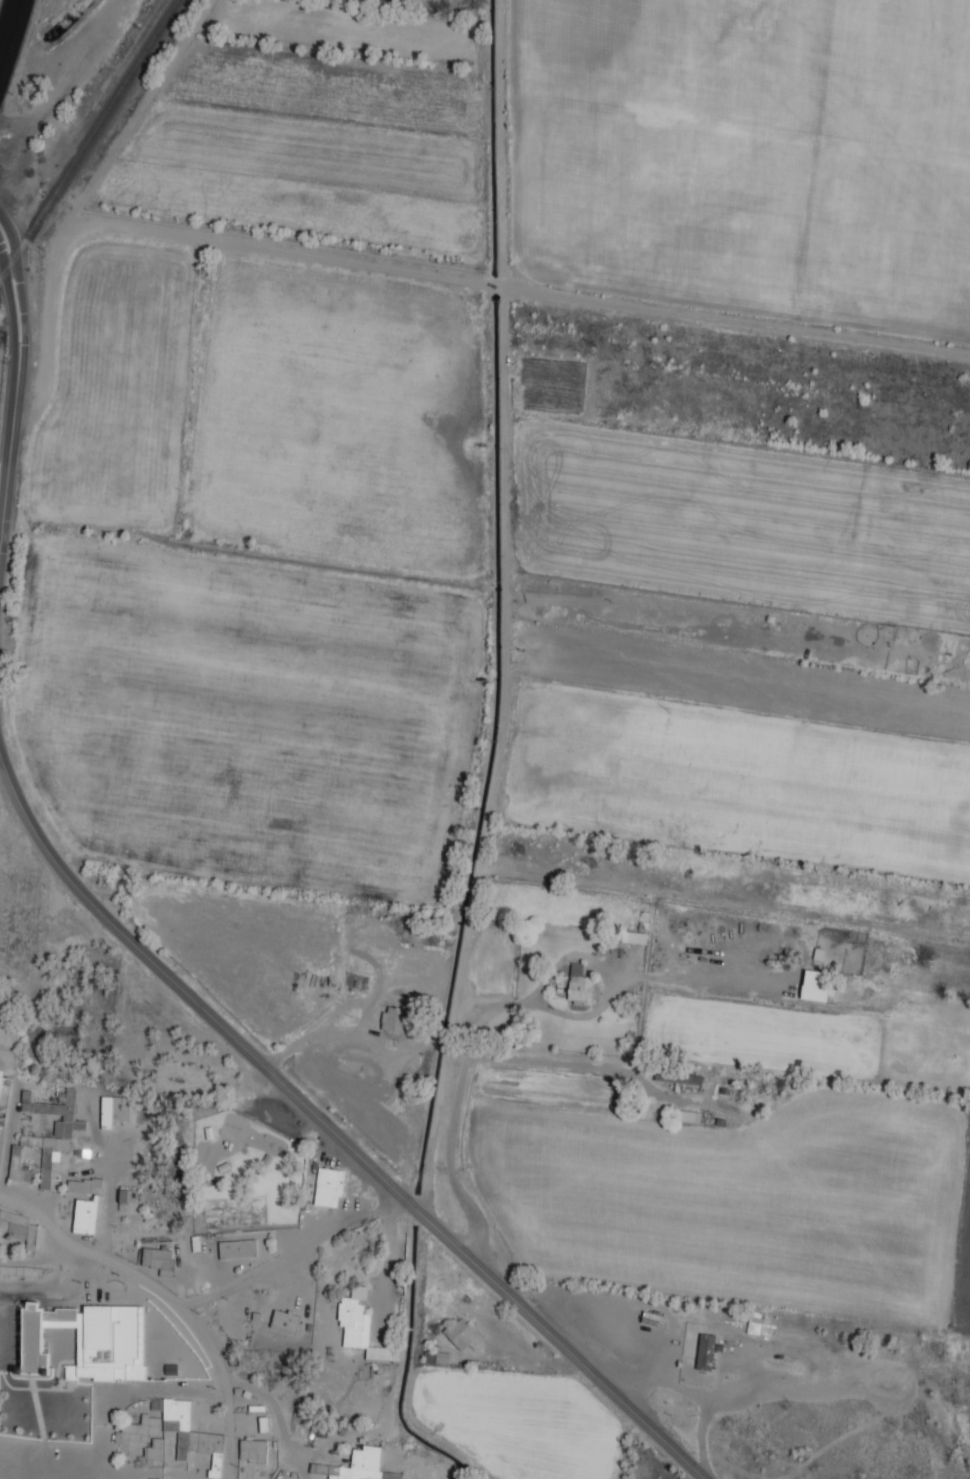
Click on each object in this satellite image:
road: (8, 25)
railway: (88, 138)
road: (16, 383)
building: (632, 937)
building: (818, 953)
building: (813, 978)
building: (578, 985)
building: (394, 1019)
building: (678, 1077)
building: (3, 1098)
building: (113, 1110)
building: (688, 1116)
building: (54, 1128)
road: (8, 1131)
road: (333, 1132)
building: (30, 1141)
building: (20, 1166)
building: (96, 1181)
building: (78, 1186)
building: (328, 1186)
road: (107, 1213)
building: (84, 1216)
building: (19, 1227)
building: (237, 1249)
road: (290, 1253)
building: (157, 1259)
road: (168, 1297)
building: (284, 1321)
building: (360, 1325)
building: (462, 1334)
building: (38, 1346)
building: (705, 1351)
building: (170, 1368)
road: (198, 1388)
building: (189, 1432)
building: (144, 1436)
building: (252, 1450)
building: (370, 1467)
road: (125, 1469)

